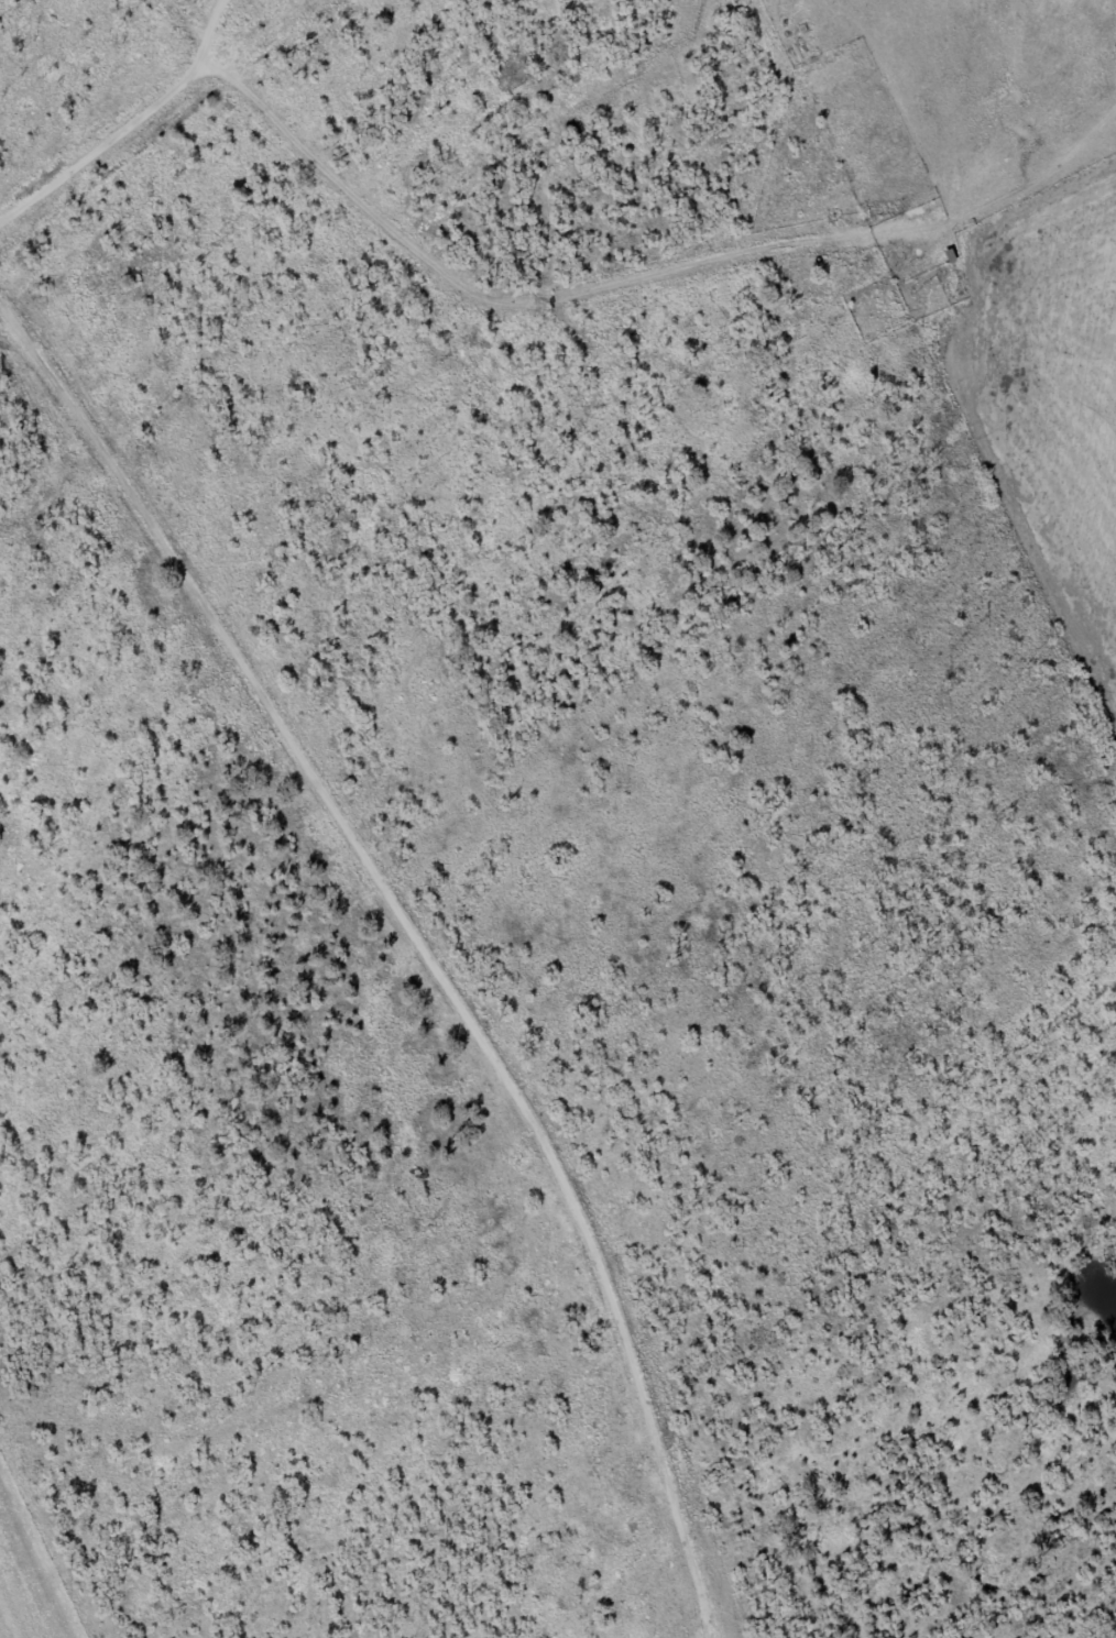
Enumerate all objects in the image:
road: (227, 4)
railway: (171, 129)
road: (141, 233)
road: (603, 255)
road: (12, 315)
road: (433, 959)

